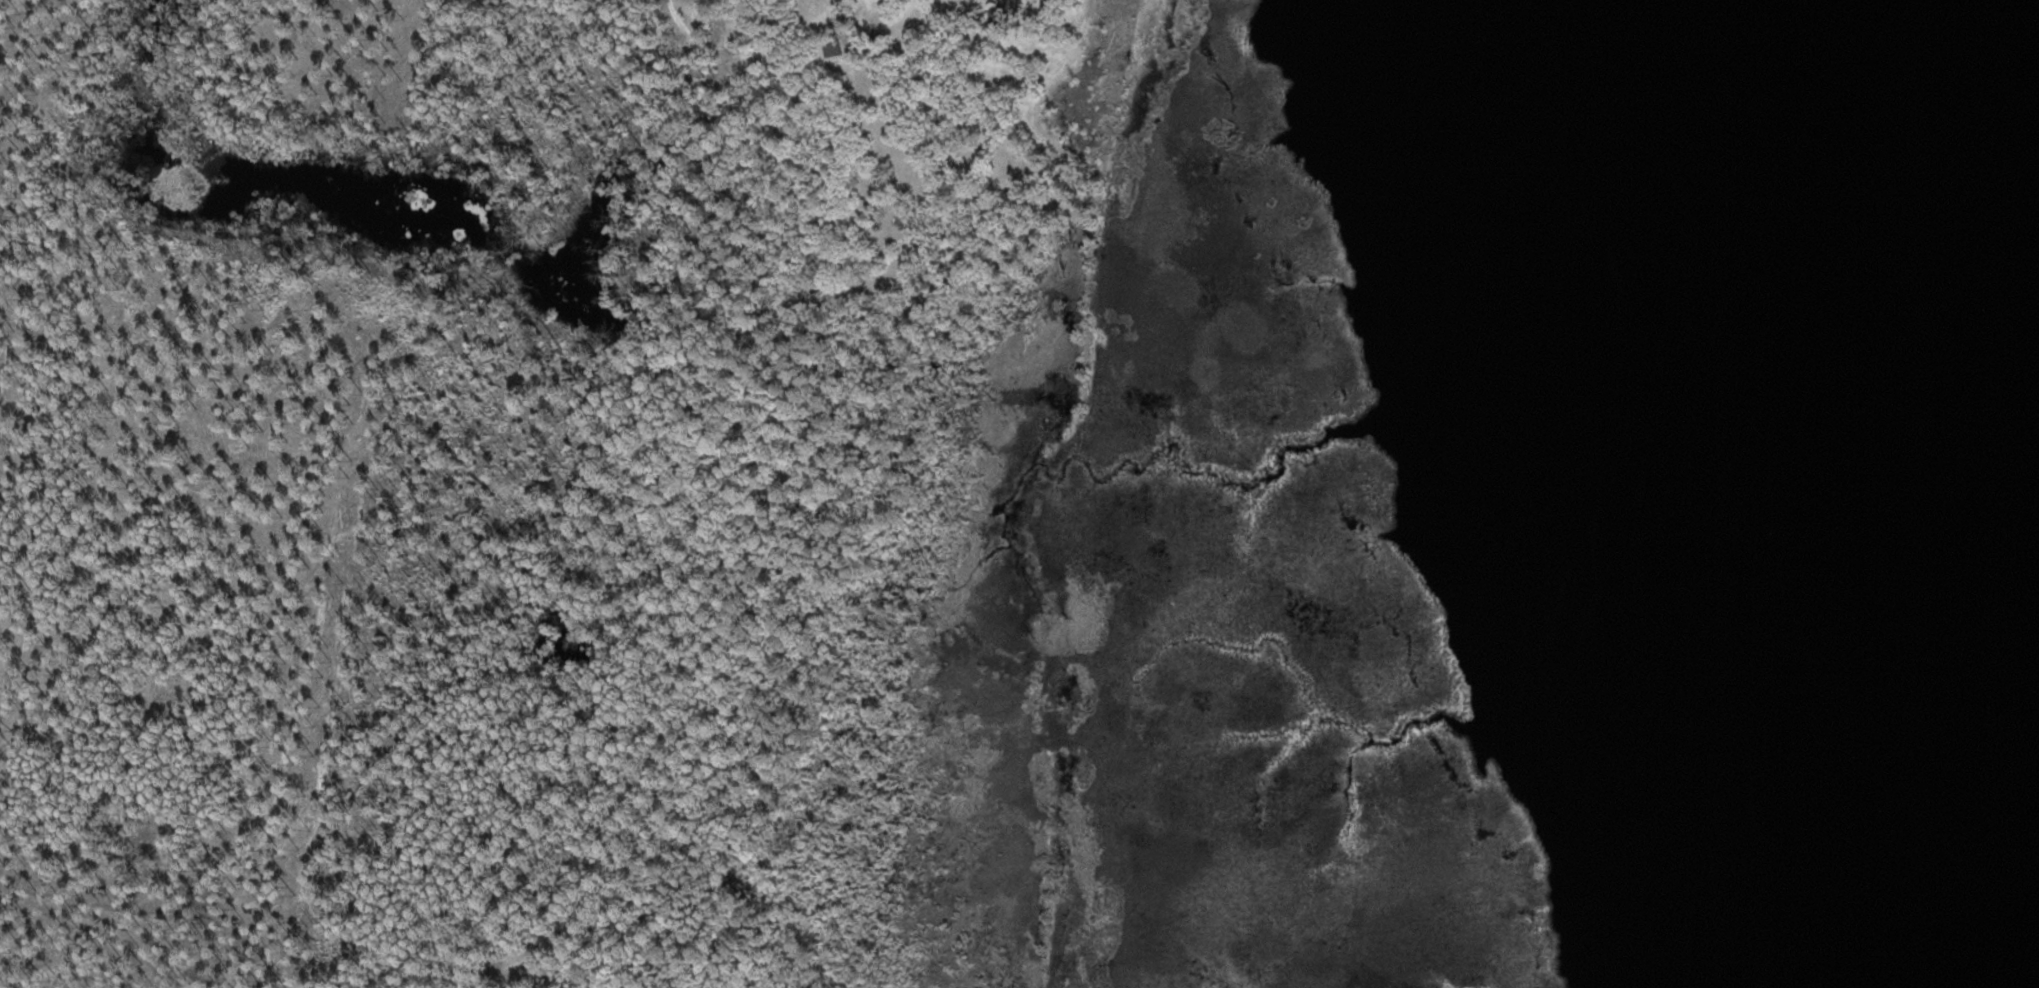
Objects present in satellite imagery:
building: (1007, 12)

